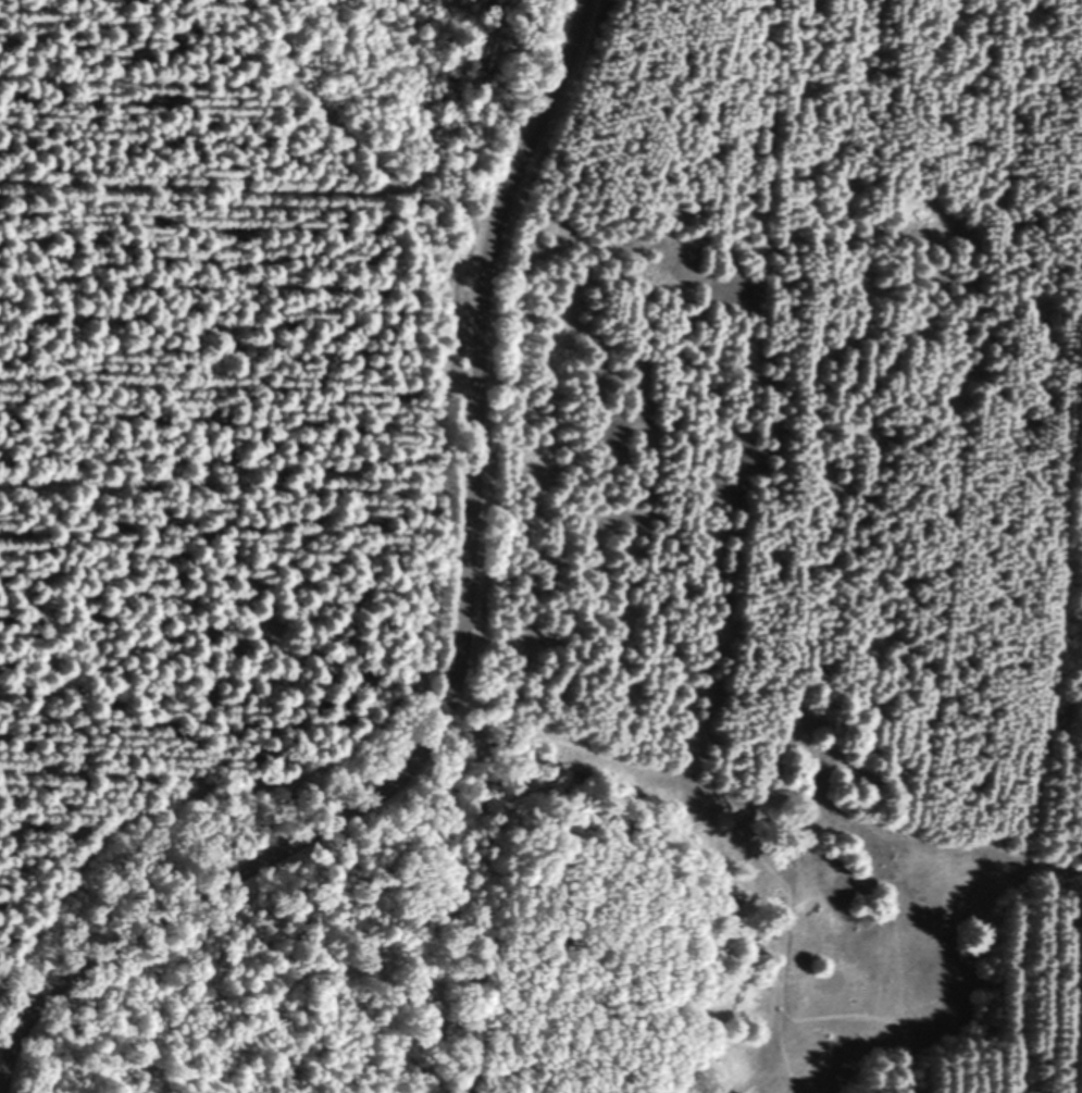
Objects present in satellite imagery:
road: (459, 647)
road: (701, 787)

